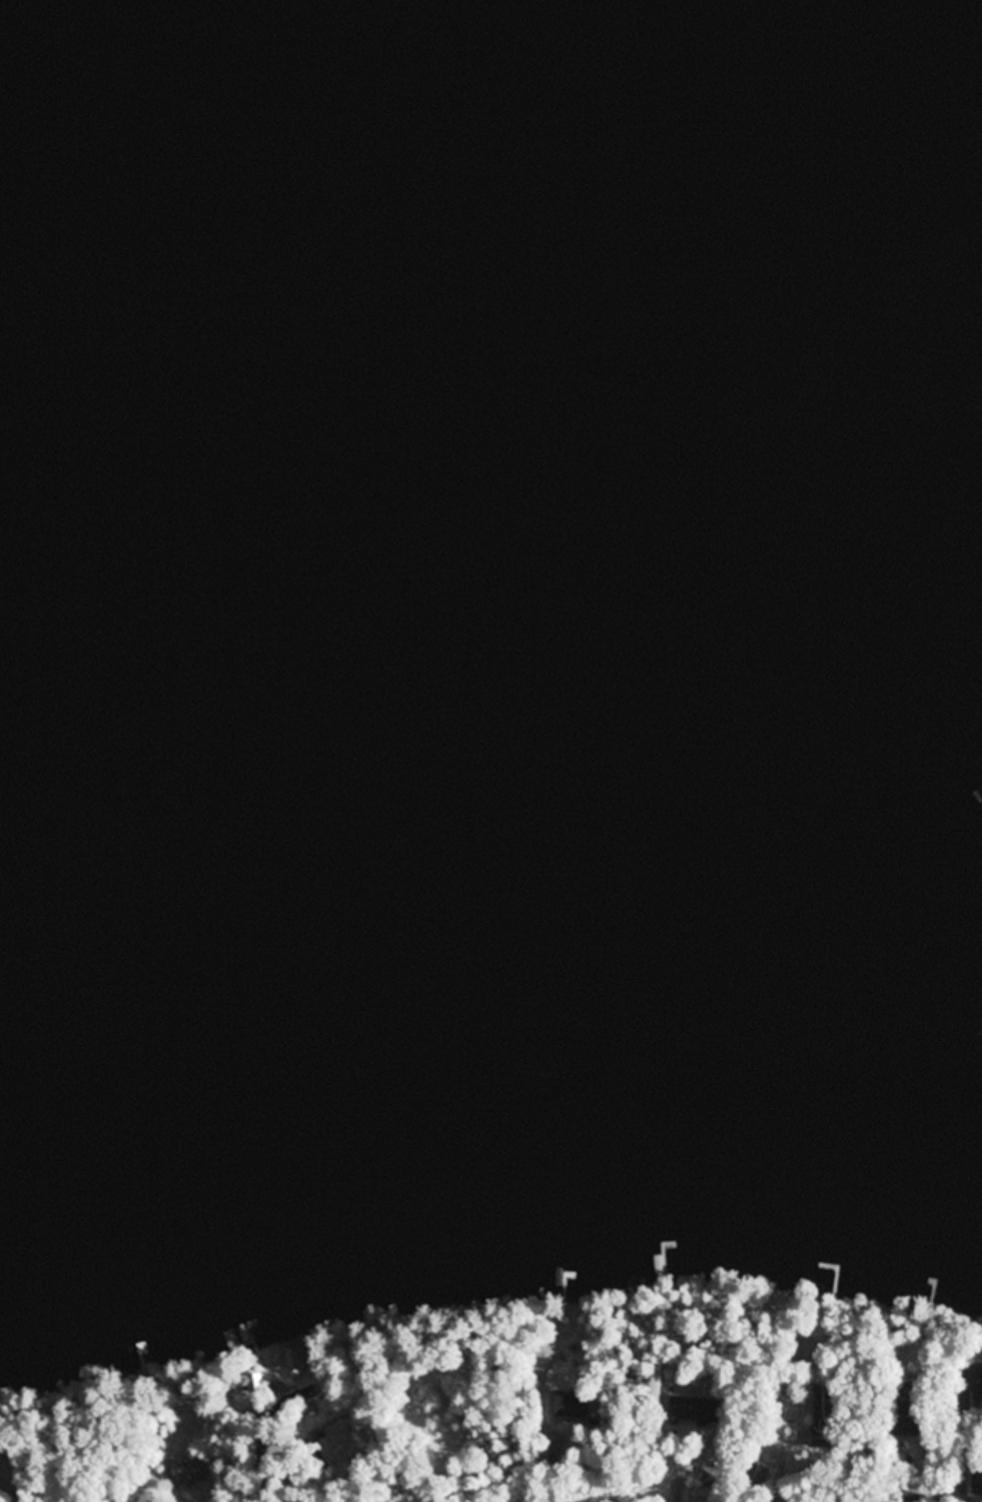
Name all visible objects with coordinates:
building: (565, 1407)
road: (948, 1477)
road: (815, 1482)
road: (717, 1483)
building: (698, 1495)
road: (642, 1498)

